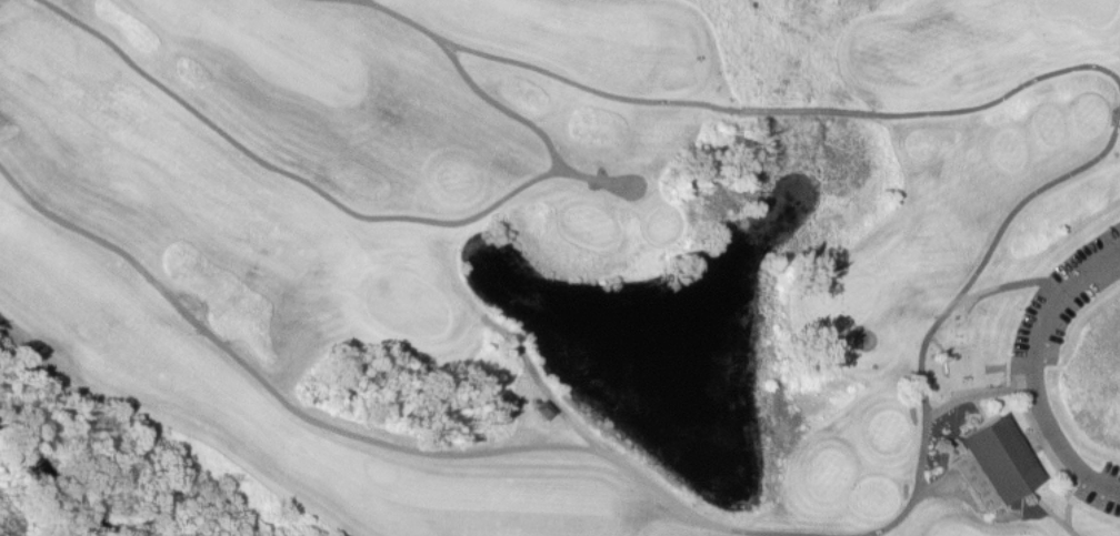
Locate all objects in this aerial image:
road: (358, 1)
road: (550, 75)
road: (1004, 98)
road: (503, 111)
road: (810, 112)
road: (316, 189)
park: (574, 260)
road: (994, 290)
parking lot: (1061, 302)
road: (952, 305)
road: (1040, 325)
road: (1000, 326)
road: (546, 388)
road: (972, 396)
building: (547, 412)
road: (352, 434)
building: (1001, 461)
road: (1028, 466)
road: (1080, 468)
parking lot: (1102, 491)
road: (1088, 508)

